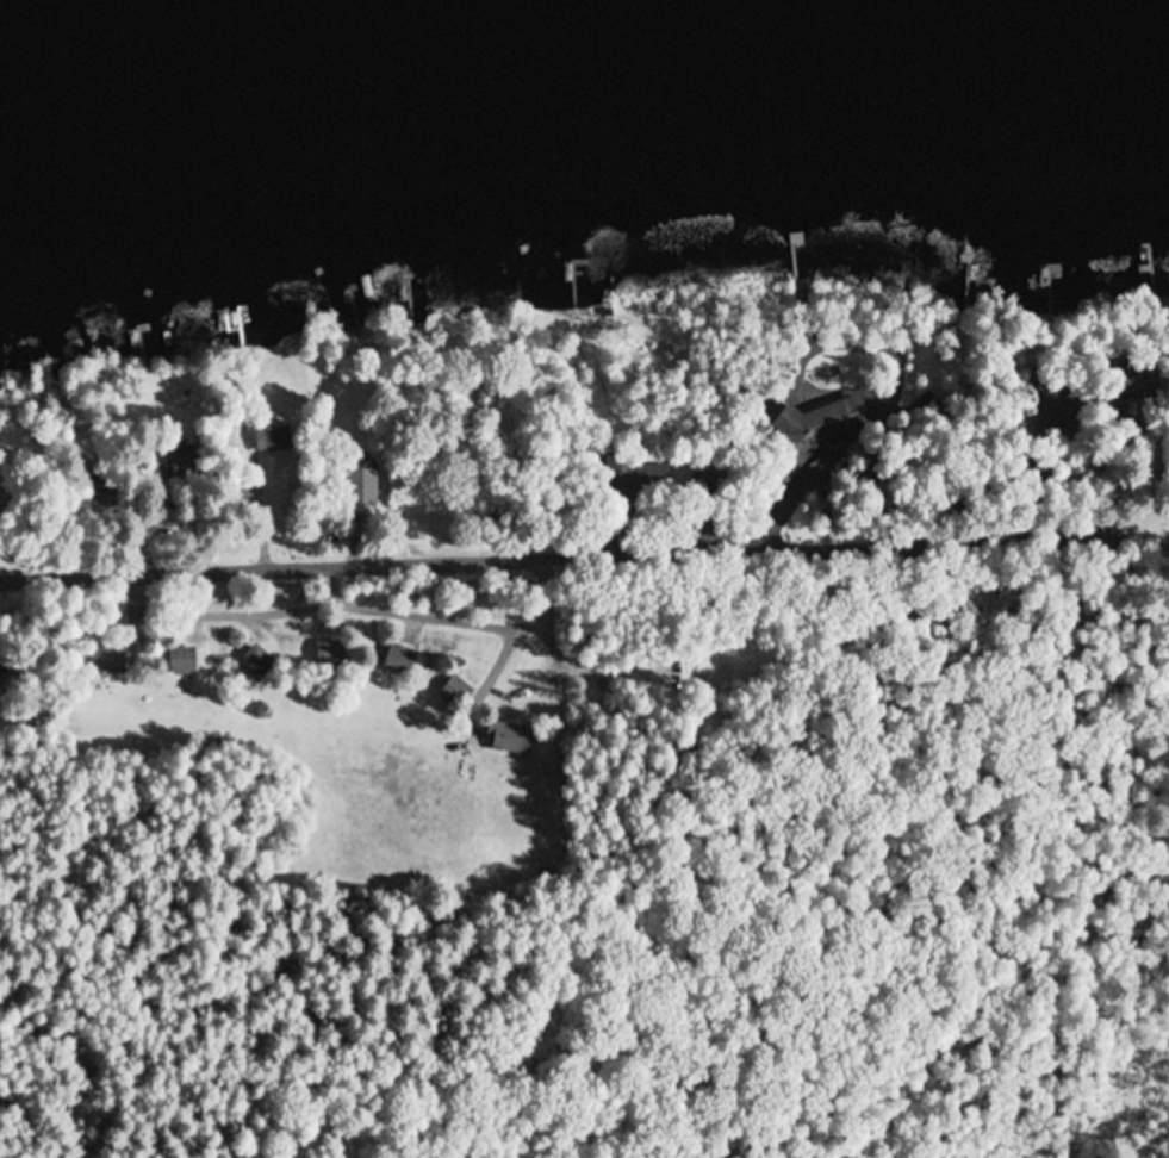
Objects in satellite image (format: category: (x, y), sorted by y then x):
building: (1137, 380)
building: (1050, 411)
building: (817, 436)
building: (272, 440)
building: (636, 479)
building: (361, 486)
building: (703, 486)
road: (584, 559)
building: (330, 655)
building: (111, 660)
building: (184, 662)
building: (399, 662)
building: (2, 664)
building: (257, 665)
building: (456, 693)
building: (510, 740)

